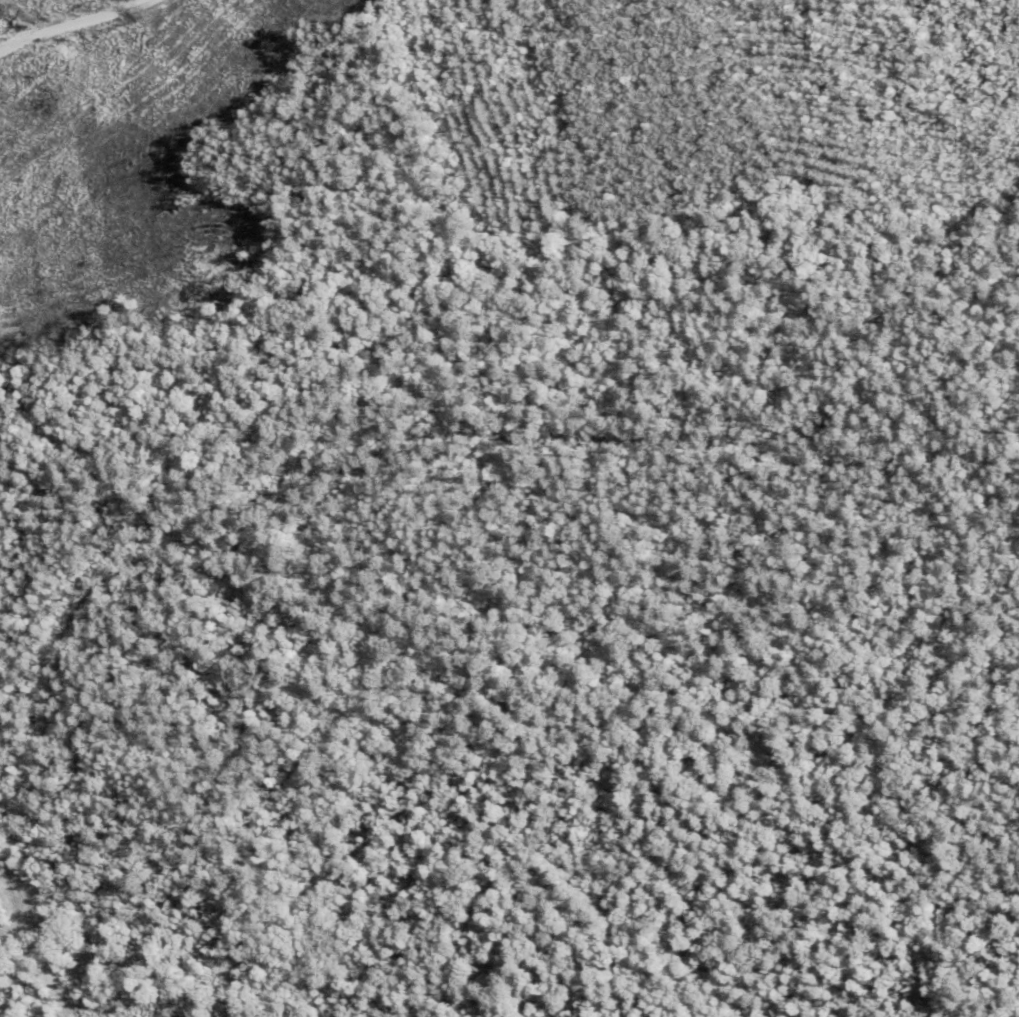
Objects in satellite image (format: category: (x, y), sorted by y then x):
road: (80, 26)

